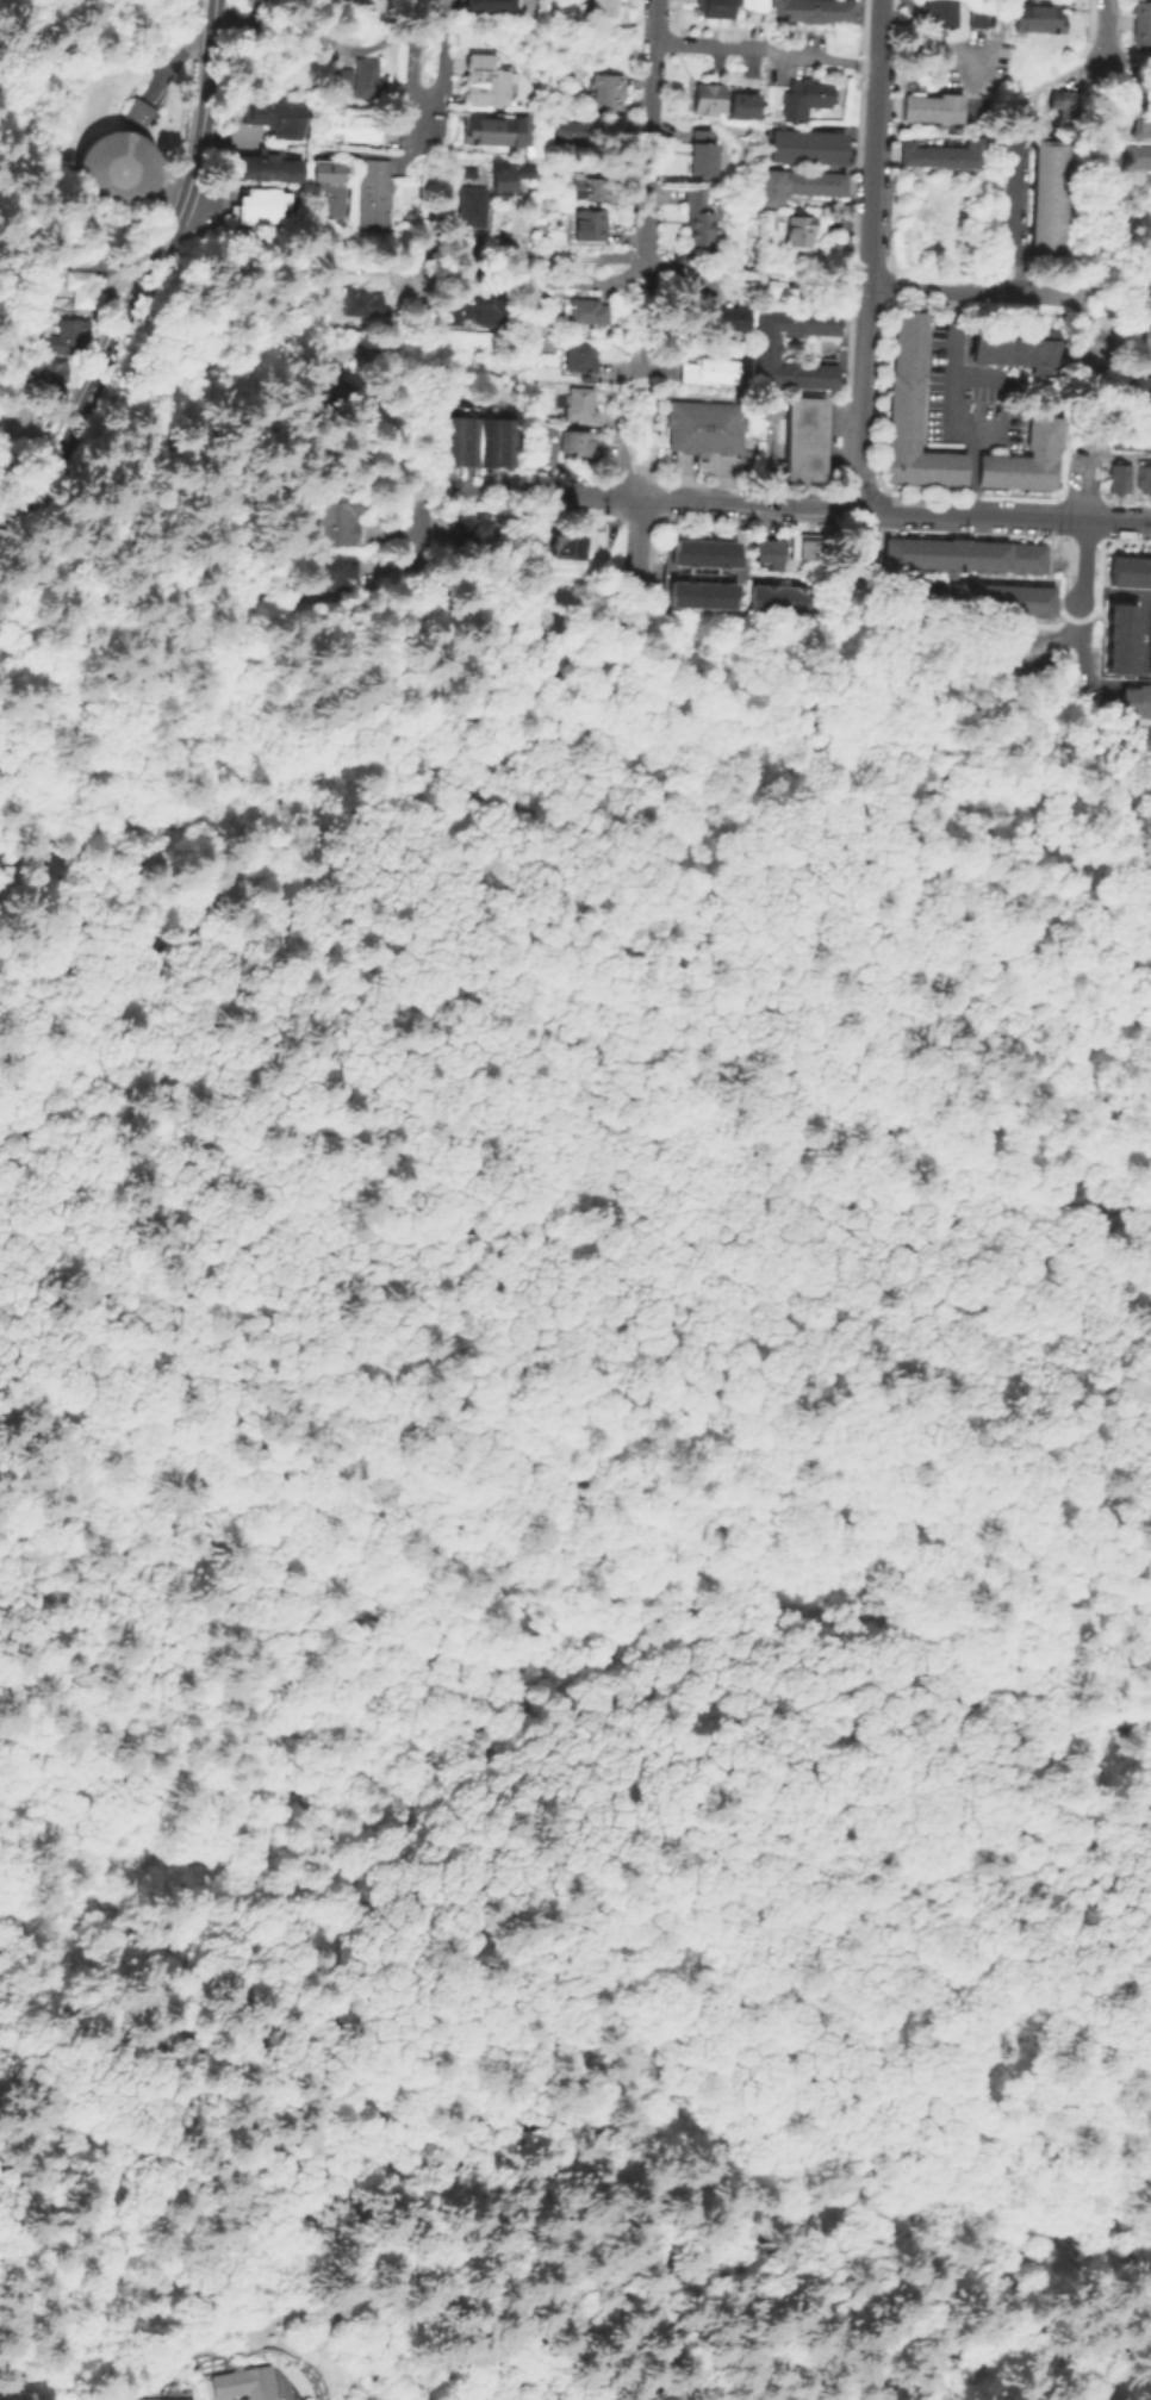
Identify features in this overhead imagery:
building: (255, 0)
building: (462, 0)
building: (748, 5)
building: (603, 7)
building: (717, 7)
building: (813, 11)
building: (940, 14)
building: (1003, 15)
building: (1039, 17)
building: (978, 18)
building: (1141, 23)
road: (1103, 32)
road: (407, 38)
road: (765, 48)
road: (929, 51)
road: (176, 61)
road: (1126, 71)
road: (440, 73)
building: (340, 76)
building: (363, 77)
building: (481, 80)
building: (608, 92)
road: (203, 97)
building: (707, 97)
building: (807, 98)
building: (1065, 102)
building: (741, 105)
building: (933, 108)
building: (137, 112)
building: (270, 116)
building: (1141, 119)
building: (353, 126)
building: (493, 128)
road: (953, 128)
building: (565, 129)
road: (399, 138)
building: (805, 145)
road: (402, 153)
building: (703, 154)
building: (944, 154)
building: (1137, 154)
building: (262, 164)
building: (114, 169)
water tower: (114, 169)
building: (479, 176)
road: (1139, 176)
building: (504, 178)
building: (801, 185)
road: (646, 188)
building: (371, 189)
building: (591, 189)
building: (325, 191)
building: (1045, 195)
building: (260, 197)
building: (469, 207)
building: (254, 213)
building: (698, 217)
road: (1012, 219)
road: (173, 222)
building: (587, 225)
building: (801, 232)
road: (866, 254)
road: (326, 255)
road: (677, 273)
road: (494, 275)
building: (76, 287)
road: (976, 291)
road: (1140, 298)
building: (362, 306)
building: (585, 312)
road: (1132, 312)
building: (485, 313)
building: (898, 316)
building: (914, 319)
road: (400, 322)
building: (728, 322)
building: (537, 332)
building: (897, 332)
building: (68, 336)
building: (1149, 336)
building: (914, 341)
building: (1010, 343)
road: (1090, 343)
building: (797, 348)
building: (897, 348)
building: (579, 359)
building: (913, 362)
building: (896, 365)
building: (710, 369)
building: (48, 377)
building: (895, 383)
building: (912, 384)
building: (1141, 388)
building: (324, 393)
road: (1007, 396)
road: (87, 400)
building: (910, 400)
building: (895, 405)
building: (579, 406)
road: (950, 411)
building: (909, 415)
building: (21, 421)
building: (703, 427)
building: (909, 428)
building: (894, 429)
building: (1049, 430)
building: (1031, 434)
building: (800, 437)
building: (449, 440)
building: (467, 440)
building: (1125, 440)
building: (485, 441)
building: (541, 441)
building: (503, 442)
building: (574, 442)
building: (909, 442)
building: (892, 453)
building: (912, 458)
building: (932, 459)
building: (952, 459)
building: (1045, 459)
road: (636, 462)
building: (995, 462)
building: (1026, 462)
building: (892, 473)
building: (912, 473)
building: (932, 474)
building: (952, 475)
building: (985, 477)
building: (1115, 477)
building: (1004, 478)
building: (1143, 478)
building: (1024, 479)
building: (1041, 479)
road: (527, 497)
road: (693, 499)
road: (805, 505)
road: (968, 514)
building: (338, 518)
road: (1113, 521)
building: (472, 533)
road: (412, 534)
road: (636, 540)
building: (566, 545)
building: (805, 546)
building: (702, 551)
building: (765, 551)
road: (858, 553)
building: (1128, 571)
building: (332, 572)
building: (968, 574)
building: (699, 592)
road: (1072, 592)
road: (1112, 592)
building: (779, 597)
building: (1118, 638)
building: (1149, 646)
road: (581, 671)
road: (169, 672)
building: (1130, 700)
road: (490, 723)
road: (490, 739)
road: (491, 772)
road: (944, 853)
road: (292, 983)
road: (598, 1137)
road: (100, 1332)
road: (606, 1482)
road: (568, 1591)
road: (491, 1673)
road: (484, 1689)
road: (496, 1711)
road: (759, 2004)
road: (331, 2048)
building: (247, 2383)
building: (15, 2394)
building: (153, 2398)

